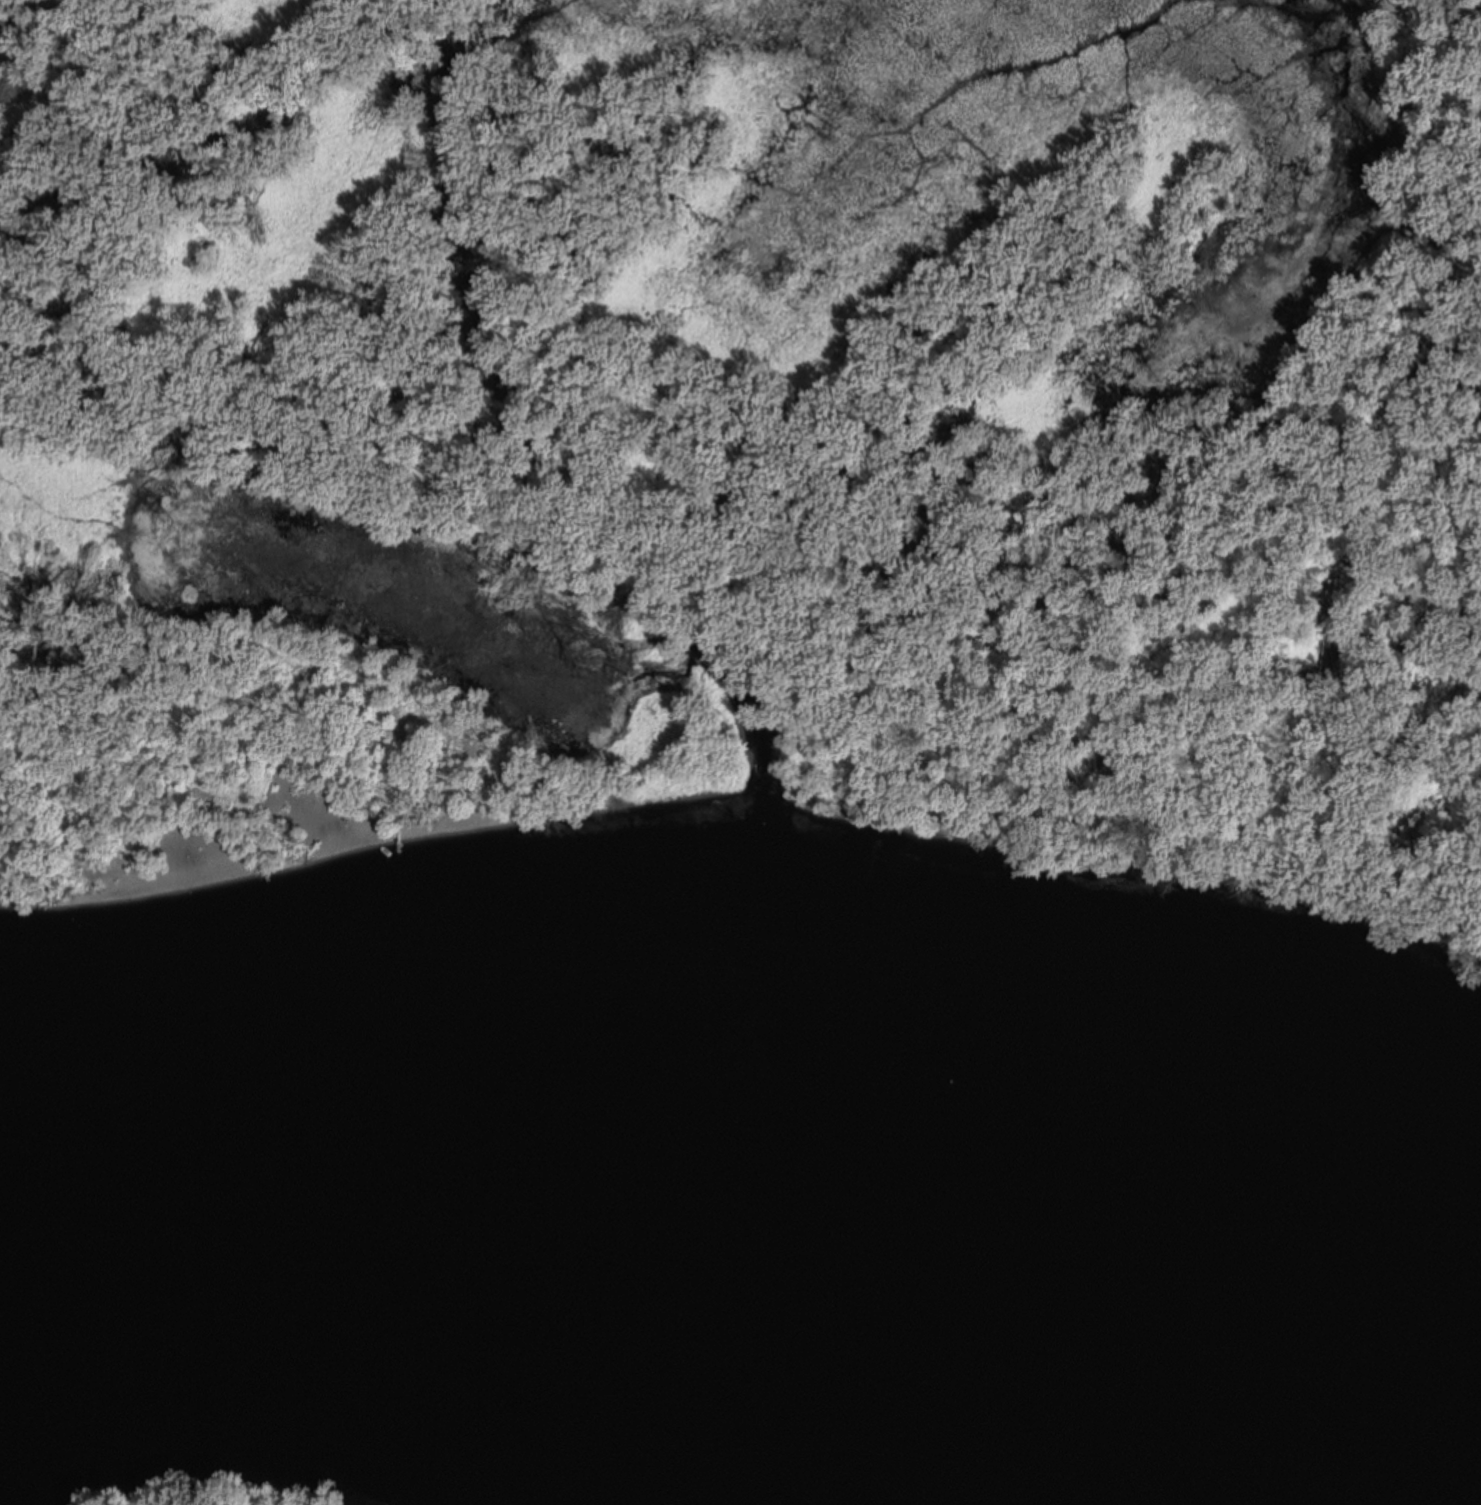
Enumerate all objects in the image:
river: (742, 1400)

